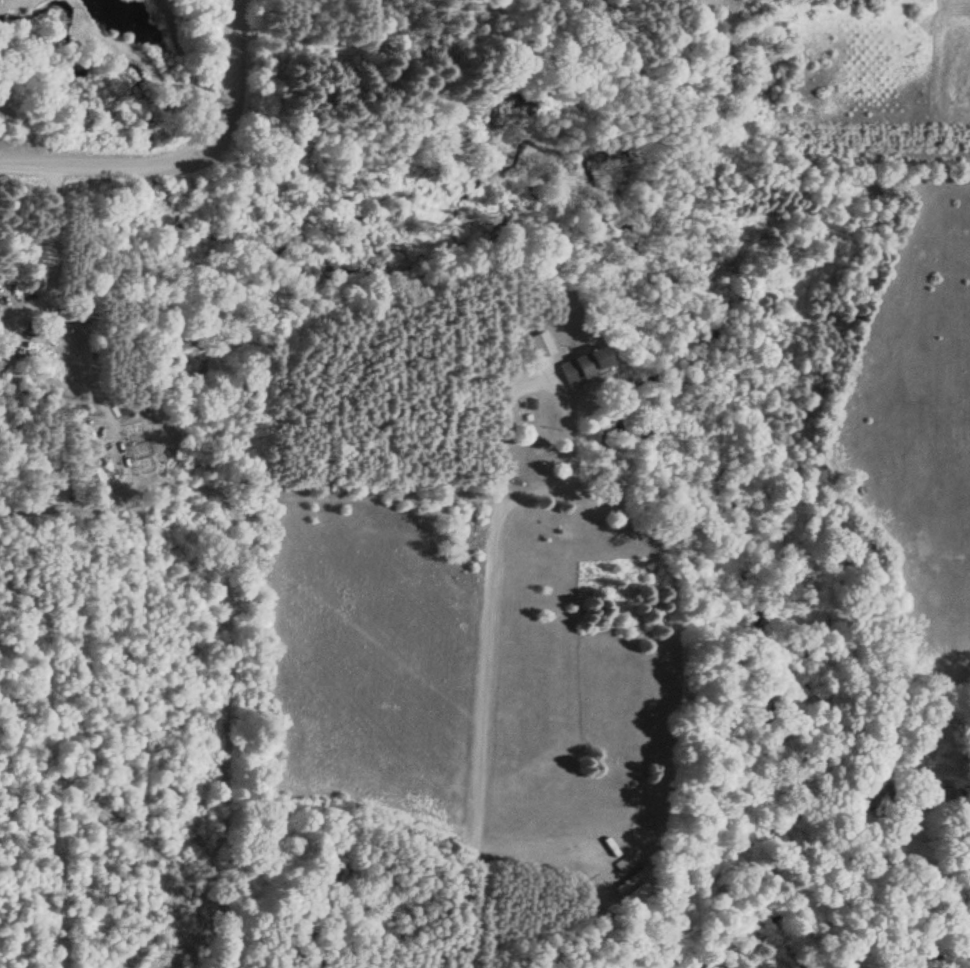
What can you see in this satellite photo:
road: (228, 65)
road: (117, 167)
building: (70, 317)
building: (584, 365)
road: (929, 680)
road: (484, 732)
building: (635, 885)

